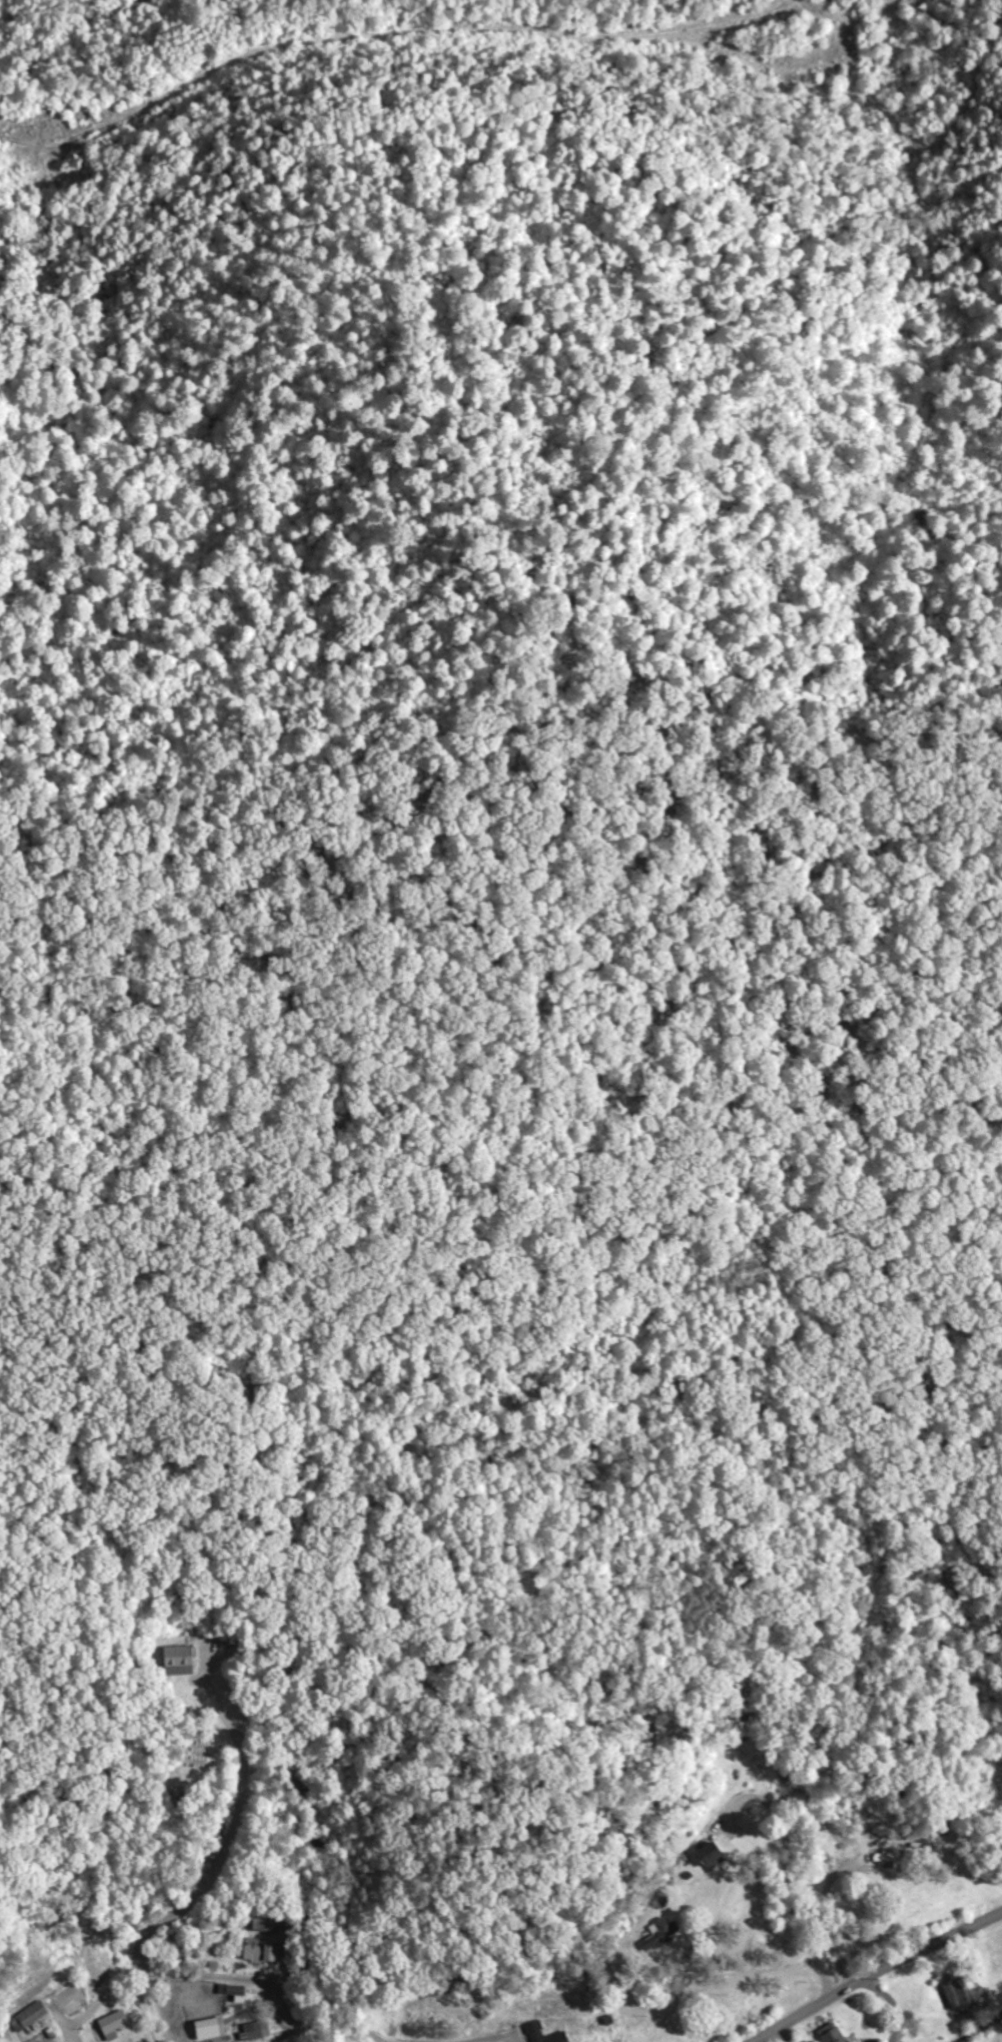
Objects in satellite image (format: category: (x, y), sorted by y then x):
building: (179, 1661)
road: (684, 1690)
road: (518, 1823)
road: (804, 1832)
building: (712, 1857)
building: (662, 1930)
building: (263, 1951)
road: (877, 1973)
road: (216, 1980)
building: (962, 1993)
building: (234, 1994)
building: (29, 2017)
building: (114, 2025)
building: (211, 2029)
building: (258, 2031)
building: (544, 2034)
building: (832, 2034)
park: (270, 2038)
building: (851, 2041)

